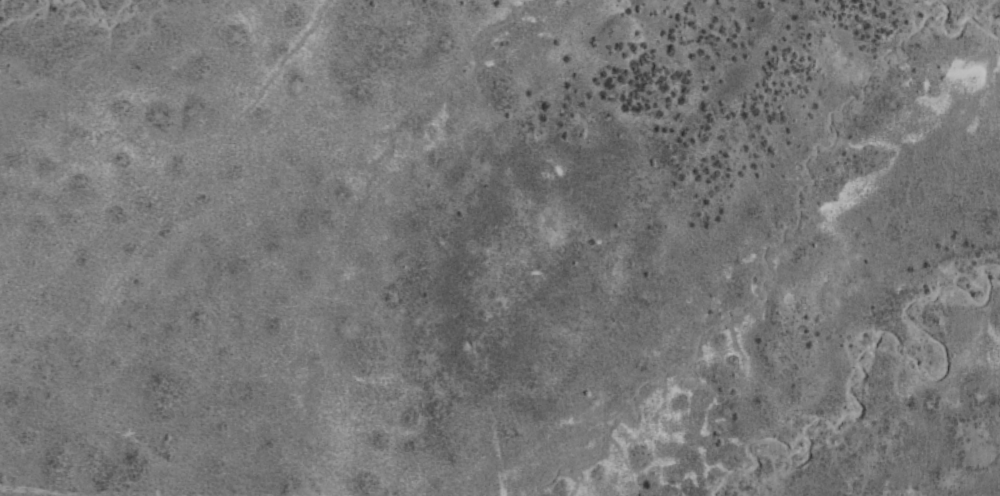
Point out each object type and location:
crop: (431, 244)

